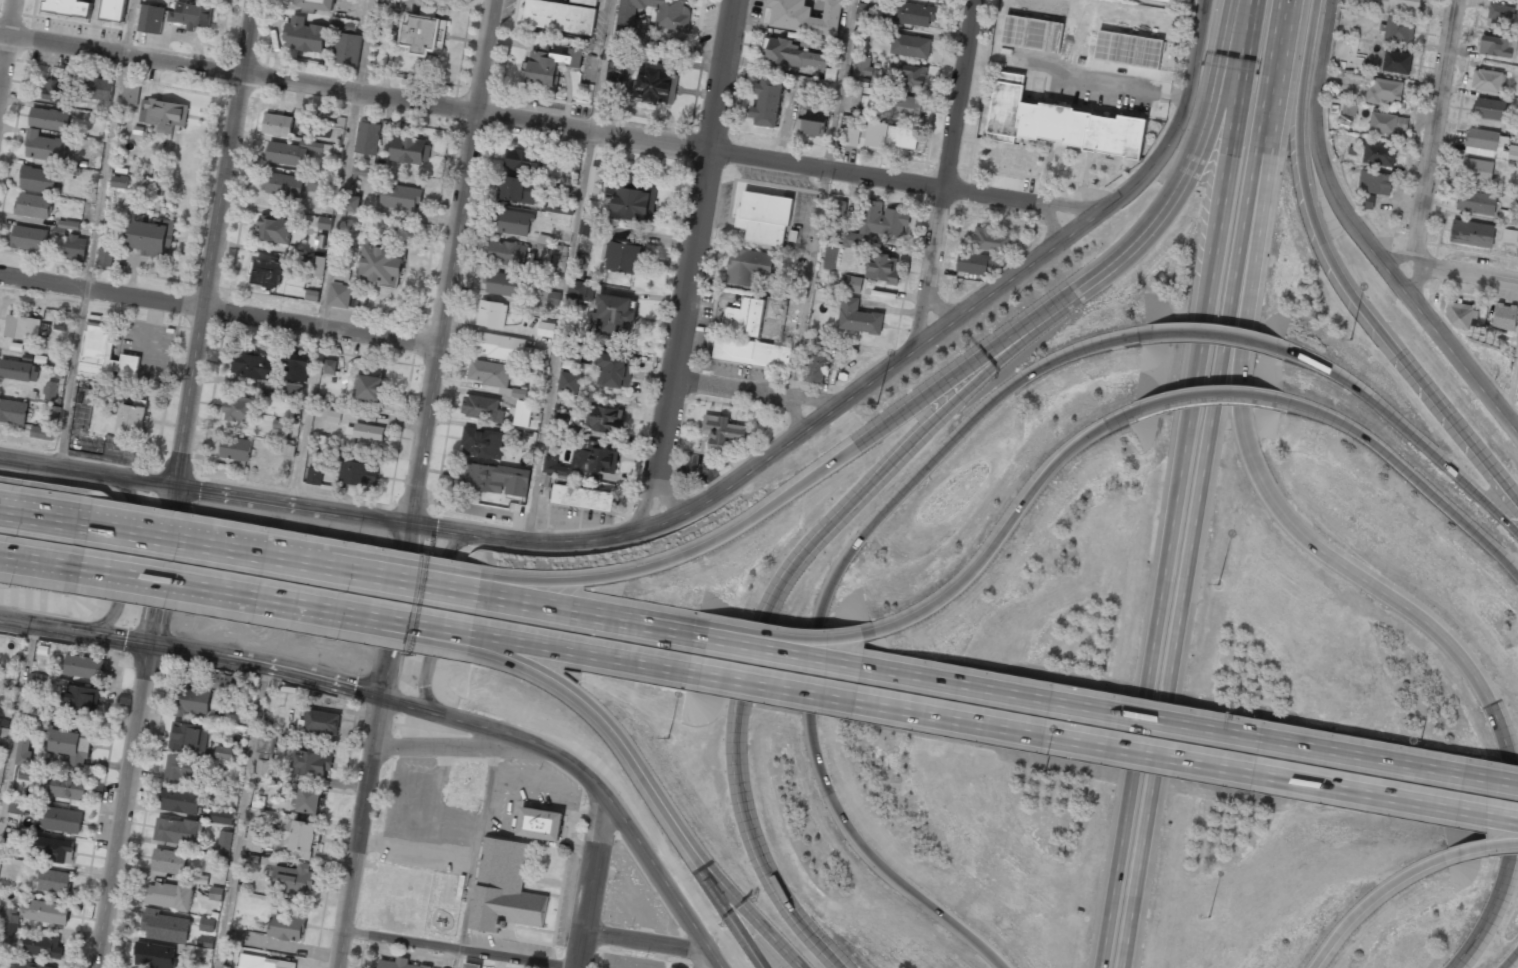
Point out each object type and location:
building: (1120, 0)
building: (387, 1)
building: (1170, 1)
building: (586, 2)
building: (315, 4)
building: (1400, 5)
building: (70, 7)
building: (114, 10)
building: (862, 12)
building: (914, 14)
building: (191, 15)
building: (560, 16)
building: (805, 16)
building: (1500, 16)
building: (151, 19)
building: (672, 23)
building: (1398, 29)
building: (1032, 33)
building: (304, 35)
building: (424, 35)
building: (807, 41)
building: (347, 43)
road: (370, 46)
building: (910, 46)
building: (1495, 46)
building: (1128, 50)
building: (792, 54)
road: (9, 56)
building: (1397, 61)
building: (550, 64)
building: (616, 65)
building: (862, 65)
road: (604, 66)
building: (830, 74)
building: (1352, 74)
building: (910, 75)
building: (1486, 80)
road: (842, 85)
building: (655, 86)
building: (97, 88)
building: (57, 91)
road: (354, 91)
building: (1384, 91)
building: (130, 94)
building: (767, 102)
road: (1234, 105)
building: (904, 106)
building: (1348, 109)
building: (1488, 109)
building: (163, 114)
building: (49, 119)
building: (1059, 121)
building: (1387, 123)
building: (278, 125)
building: (811, 125)
building: (320, 131)
building: (876, 134)
building: (853, 135)
building: (907, 138)
building: (368, 139)
building: (1486, 143)
building: (44, 146)
building: (410, 149)
road: (1439, 151)
building: (1512, 152)
building: (286, 153)
road: (1257, 153)
road: (1194, 154)
building: (1379, 154)
building: (523, 160)
building: (1477, 170)
building: (363, 171)
road: (946, 175)
building: (38, 179)
building: (596, 180)
building: (119, 181)
road: (901, 182)
building: (1375, 182)
building: (282, 183)
building: (317, 183)
building: (516, 189)
building: (400, 196)
building: (631, 196)
building: (559, 198)
building: (1366, 201)
building: (1476, 202)
building: (356, 203)
building: (33, 205)
building: (836, 211)
building: (763, 217)
building: (513, 222)
building: (325, 223)
building: (878, 223)
building: (65, 226)
building: (587, 227)
building: (275, 229)
road: (97, 233)
building: (1472, 233)
building: (1509, 236)
building: (152, 237)
building: (28, 238)
road: (1358, 238)
building: (991, 239)
building: (76, 248)
building: (506, 253)
building: (551, 253)
building: (625, 255)
building: (105, 256)
building: (975, 262)
building: (383, 263)
road: (690, 264)
building: (318, 266)
building: (748, 266)
building: (882, 268)
road: (1471, 271)
building: (267, 273)
road: (1341, 275)
building: (501, 284)
road: (810, 284)
building: (852, 284)
building: (581, 289)
building: (341, 294)
building: (312, 295)
road: (327, 298)
building: (553, 298)
road: (220, 308)
building: (491, 313)
building: (1460, 314)
building: (614, 315)
building: (1504, 316)
building: (744, 317)
building: (858, 317)
building: (61, 324)
building: (22, 327)
building: (545, 329)
road: (1216, 334)
road: (559, 337)
street lamp: (1350, 339)
building: (497, 345)
building: (571, 349)
building: (751, 352)
building: (104, 354)
building: (295, 365)
building: (567, 365)
building: (330, 366)
building: (253, 367)
building: (814, 369)
building: (19, 370)
building: (614, 370)
building: (488, 373)
road: (881, 374)
road: (1510, 377)
building: (569, 381)
building: (369, 387)
building: (50, 390)
road: (756, 392)
road: (1208, 395)
building: (90, 396)
street lamp: (876, 402)
building: (240, 408)
building: (483, 408)
building: (13, 411)
building: (522, 413)
building: (334, 416)
building: (133, 417)
building: (562, 419)
building: (605, 419)
building: (279, 424)
building: (723, 426)
building: (366, 431)
building: (42, 433)
road: (1407, 435)
building: (559, 437)
building: (321, 440)
building: (481, 442)
building: (235, 448)
building: (288, 449)
building: (322, 453)
building: (603, 460)
building: (554, 467)
building: (358, 473)
road: (1409, 473)
road: (811, 474)
building: (314, 475)
building: (488, 476)
road: (179, 483)
road: (419, 484)
road: (206, 489)
building: (584, 501)
road: (50, 521)
road: (1003, 530)
road: (245, 555)
road: (47, 556)
road: (126, 566)
road: (785, 578)
road: (442, 583)
street lamp: (1218, 583)
road: (1165, 589)
road: (440, 590)
road: (239, 591)
road: (819, 607)
road: (436, 610)
road: (1421, 618)
road: (594, 620)
road: (432, 628)
road: (430, 635)
road: (1177, 637)
road: (718, 644)
road: (801, 645)
road: (192, 650)
road: (585, 656)
building: (83, 667)
building: (222, 681)
building: (80, 699)
building: (192, 701)
road: (1129, 716)
building: (320, 722)
road: (17, 734)
building: (188, 736)
street lamp: (665, 736)
street lamp: (1418, 739)
building: (70, 743)
building: (266, 744)
road: (461, 747)
building: (23, 749)
road: (1104, 749)
building: (223, 753)
building: (312, 763)
building: (183, 768)
building: (263, 768)
building: (1, 770)
street lamp: (1041, 773)
building: (26, 774)
road: (592, 778)
building: (44, 781)
building: (69, 787)
road: (652, 792)
building: (180, 799)
building: (309, 800)
building: (17, 806)
building: (222, 816)
road: (243, 817)
building: (62, 820)
building: (541, 823)
building: (176, 830)
building: (298, 837)
building: (254, 840)
building: (224, 843)
road: (1483, 848)
building: (54, 849)
road: (477, 858)
building: (252, 859)
building: (169, 861)
building: (293, 879)
building: (54, 881)
road: (591, 881)
building: (504, 888)
road: (720, 894)
building: (169, 896)
road: (1372, 900)
building: (45, 911)
street lamp: (1207, 915)
building: (11, 922)
building: (207, 924)
building: (166, 926)
building: (287, 926)
building: (235, 937)
road: (645, 941)
building: (205, 942)
building: (42, 946)
road: (461, 949)
building: (155, 955)
road: (699, 959)
road: (1511, 959)
building: (264, 962)
building: (399, 964)
building: (27, 965)
building: (471, 965)
building: (670, 967)

